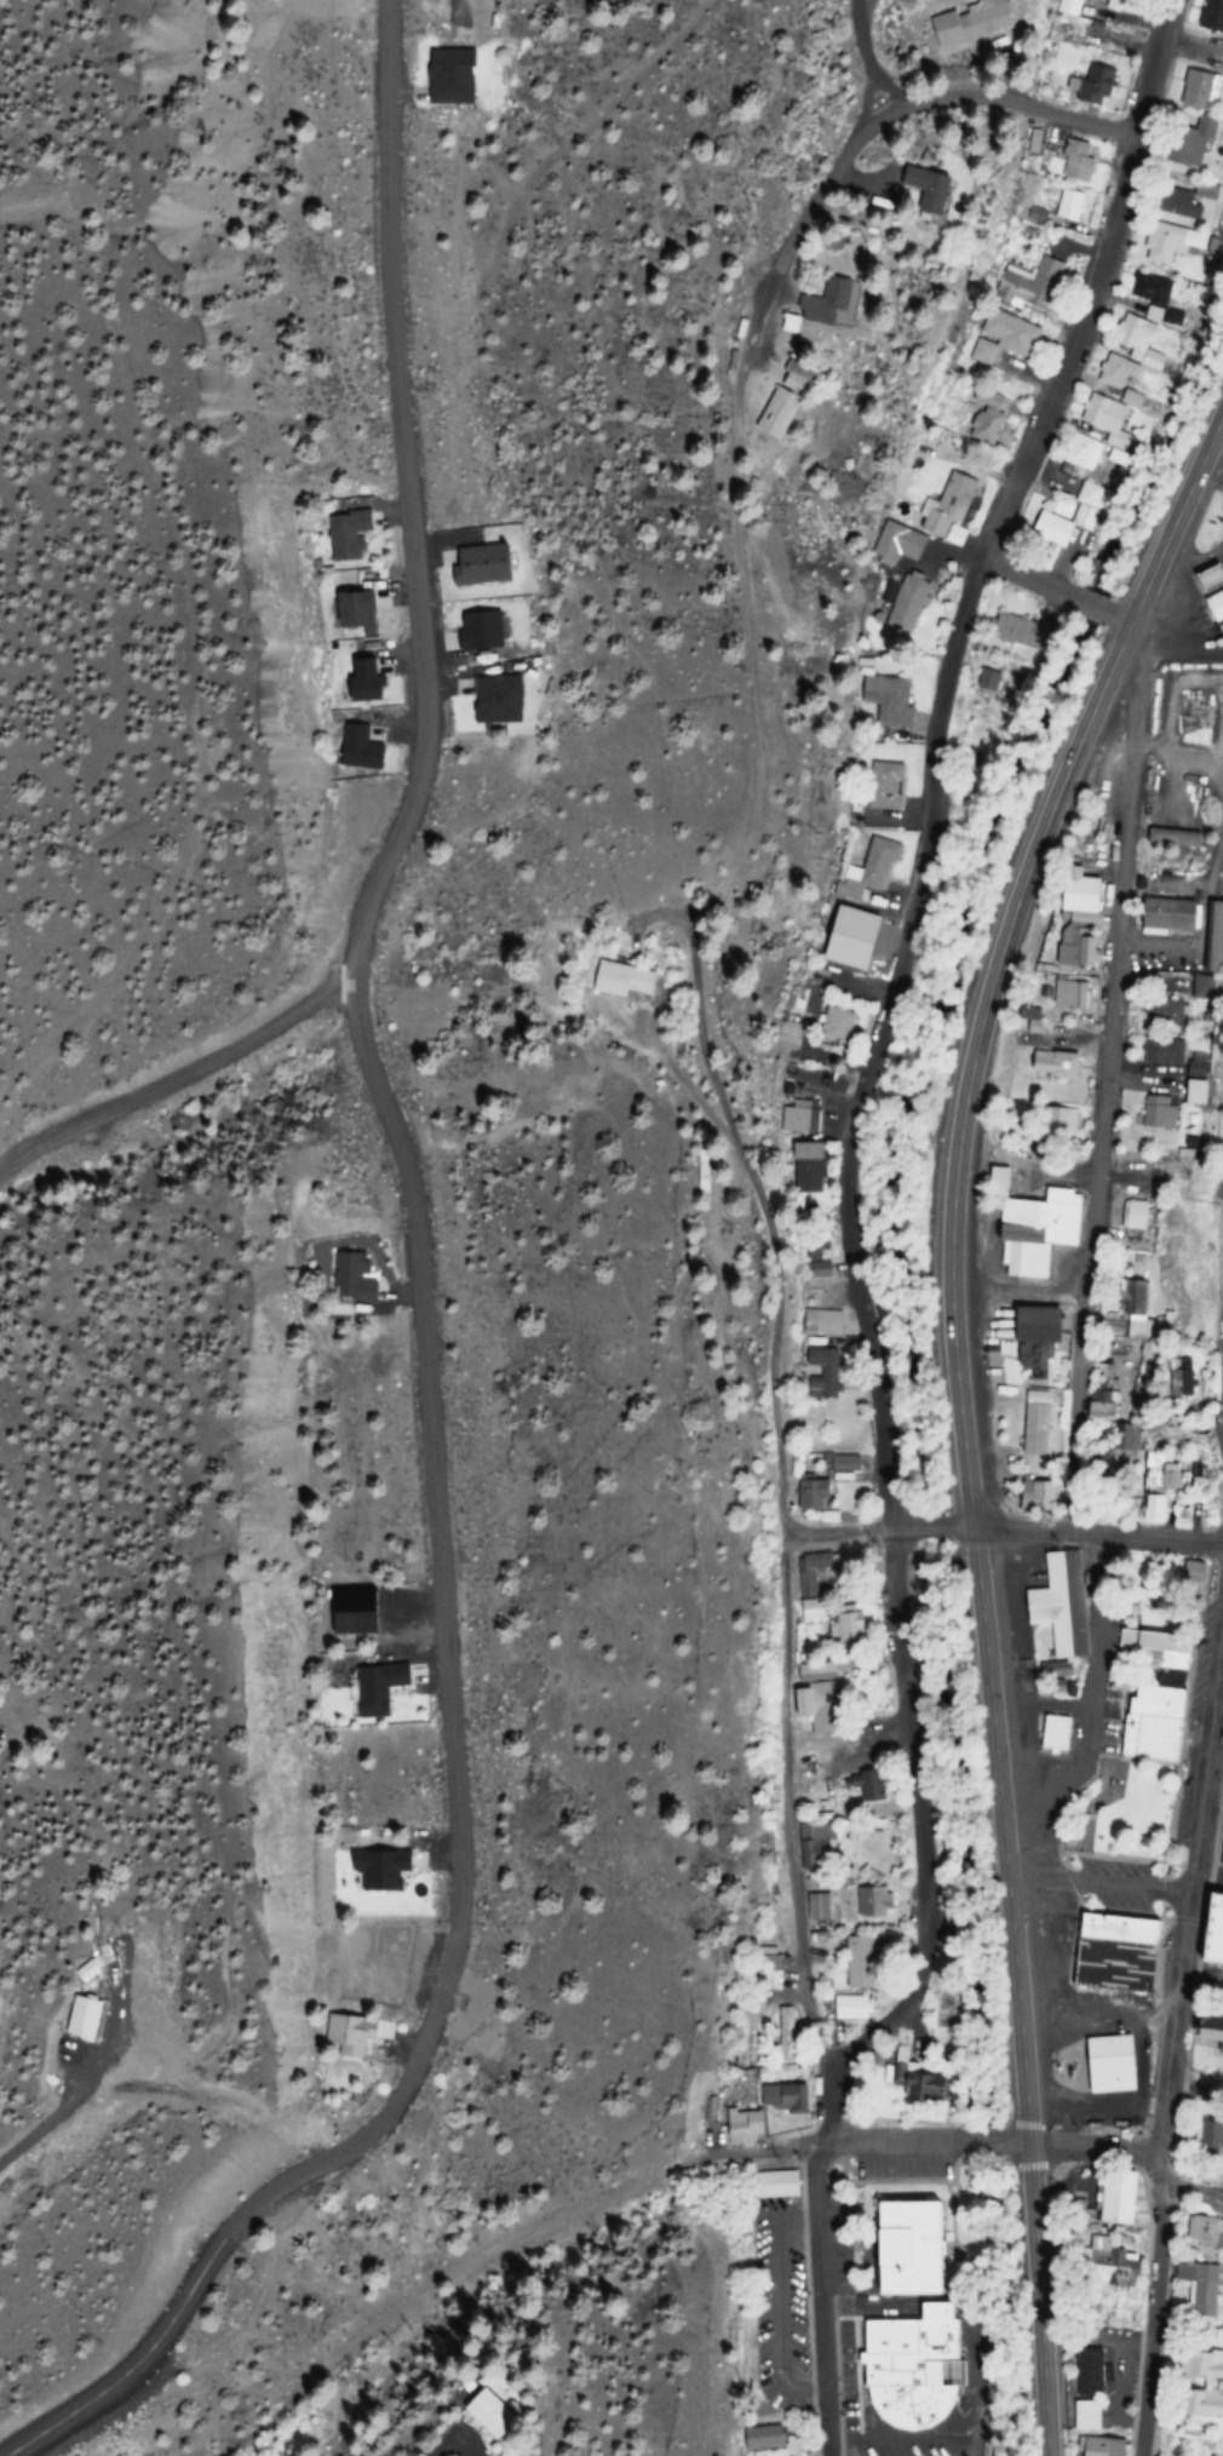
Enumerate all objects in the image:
building: (1119, 5)
building: (1069, 8)
building: (1207, 15)
building: (969, 23)
road: (875, 68)
road: (1156, 68)
building: (441, 75)
building: (1092, 84)
building: (1194, 91)
road: (1037, 110)
building: (1182, 145)
building: (1074, 160)
building: (919, 188)
building: (1199, 190)
building: (1172, 203)
building: (1068, 206)
building: (1162, 241)
building: (1029, 286)
building: (820, 303)
building: (1138, 317)
building: (1001, 339)
building: (1113, 372)
building: (775, 414)
building: (1098, 417)
building: (983, 419)
building: (1083, 454)
building: (947, 501)
building: (1057, 526)
building: (350, 534)
building: (897, 544)
road: (1061, 590)
building: (905, 603)
building: (361, 606)
building: (1015, 630)
building: (488, 700)
building: (888, 700)
building: (884, 787)
road: (935, 825)
building: (1172, 838)
building: (863, 873)
building: (1076, 893)
building: (1164, 918)
building: (1211, 939)
building: (1078, 954)
road: (1005, 956)
building: (618, 981)
building: (1062, 995)
building: (1158, 1014)
building: (829, 1026)
building: (1170, 1057)
road: (713, 1065)
building: (1045, 1066)
road: (177, 1078)
building: (1189, 1094)
building: (1153, 1114)
building: (796, 1120)
building: (1050, 1124)
building: (803, 1163)
building: (1024, 1227)
road: (1086, 1240)
building: (815, 1252)
road: (1221, 1258)
building: (350, 1279)
road: (425, 1306)
building: (1131, 1313)
building: (822, 1322)
building: (1027, 1339)
building: (822, 1372)
building: (1169, 1378)
building: (1096, 1407)
building: (1122, 1438)
building: (1030, 1439)
building: (822, 1484)
building: (1154, 1499)
road: (879, 1534)
road: (1097, 1538)
building: (815, 1571)
building: (1187, 1580)
building: (1053, 1603)
building: (810, 1609)
building: (1154, 1649)
building: (372, 1687)
road: (992, 1706)
building: (817, 1708)
building: (1153, 1721)
building: (1047, 1731)
building: (863, 1784)
park: (1116, 1811)
road: (920, 1823)
building: (814, 1847)
building: (379, 1869)
road: (1099, 1884)
building: (869, 1901)
building: (817, 1907)
building: (1109, 1951)
building: (855, 1963)
building: (766, 1973)
building: (849, 2007)
building: (346, 2035)
building: (785, 2039)
road: (1165, 2050)
building: (1104, 2064)
building: (790, 2096)
building: (740, 2127)
road: (989, 2148)
road: (1032, 2167)
building: (771, 2185)
road: (1192, 2190)
building: (1113, 2199)
building: (1204, 2233)
building: (896, 2246)
road: (524, 2250)
building: (1106, 2262)
road: (825, 2267)
building: (1199, 2288)
building: (1200, 2364)
building: (905, 2369)
building: (1083, 2371)
building: (1202, 2403)
building: (477, 2412)
building: (1080, 2415)
building: (763, 2438)
building: (1097, 2446)

